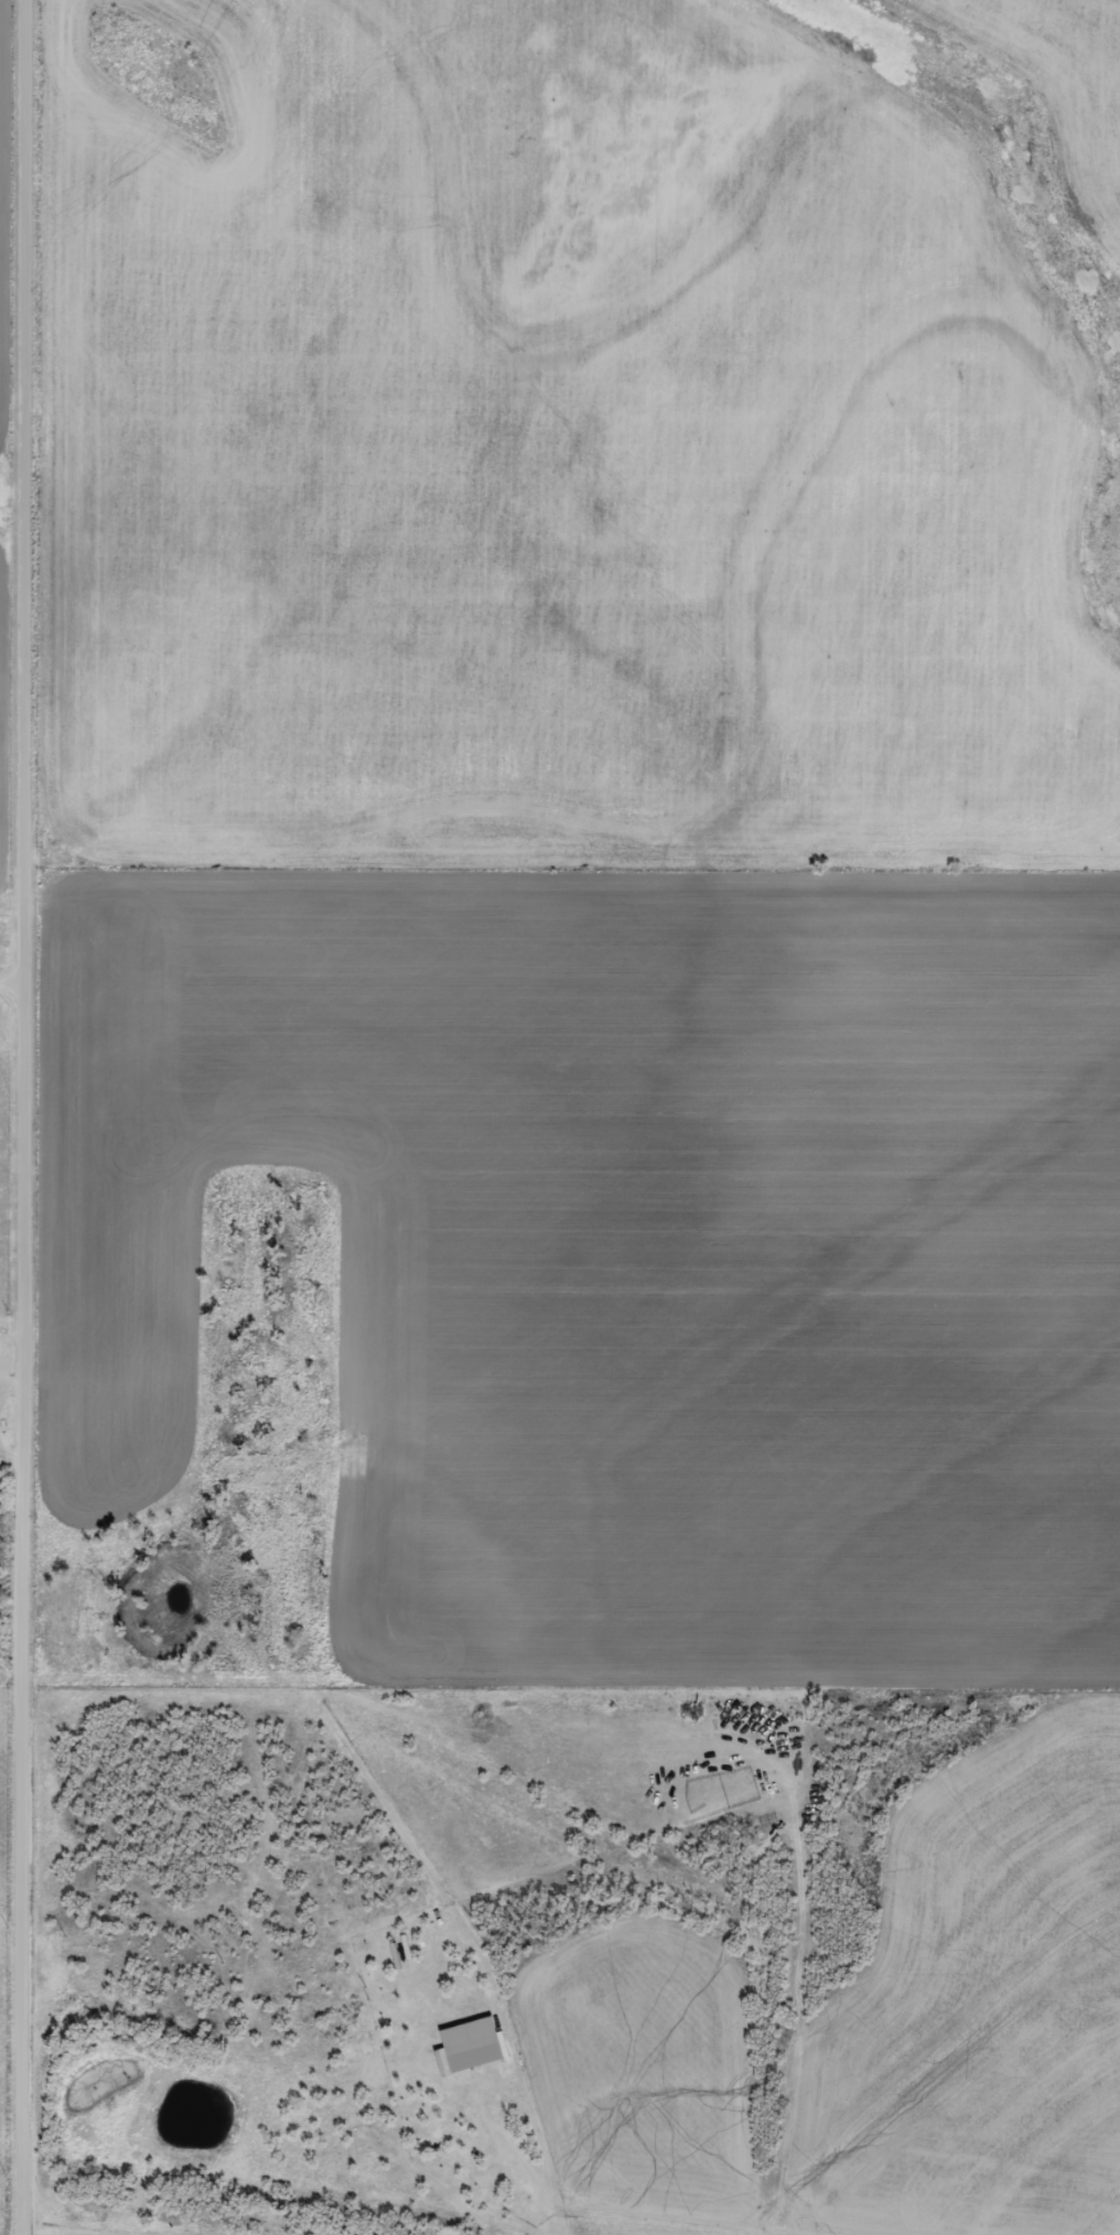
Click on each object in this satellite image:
road: (26, 1117)
railway: (270, 2200)

